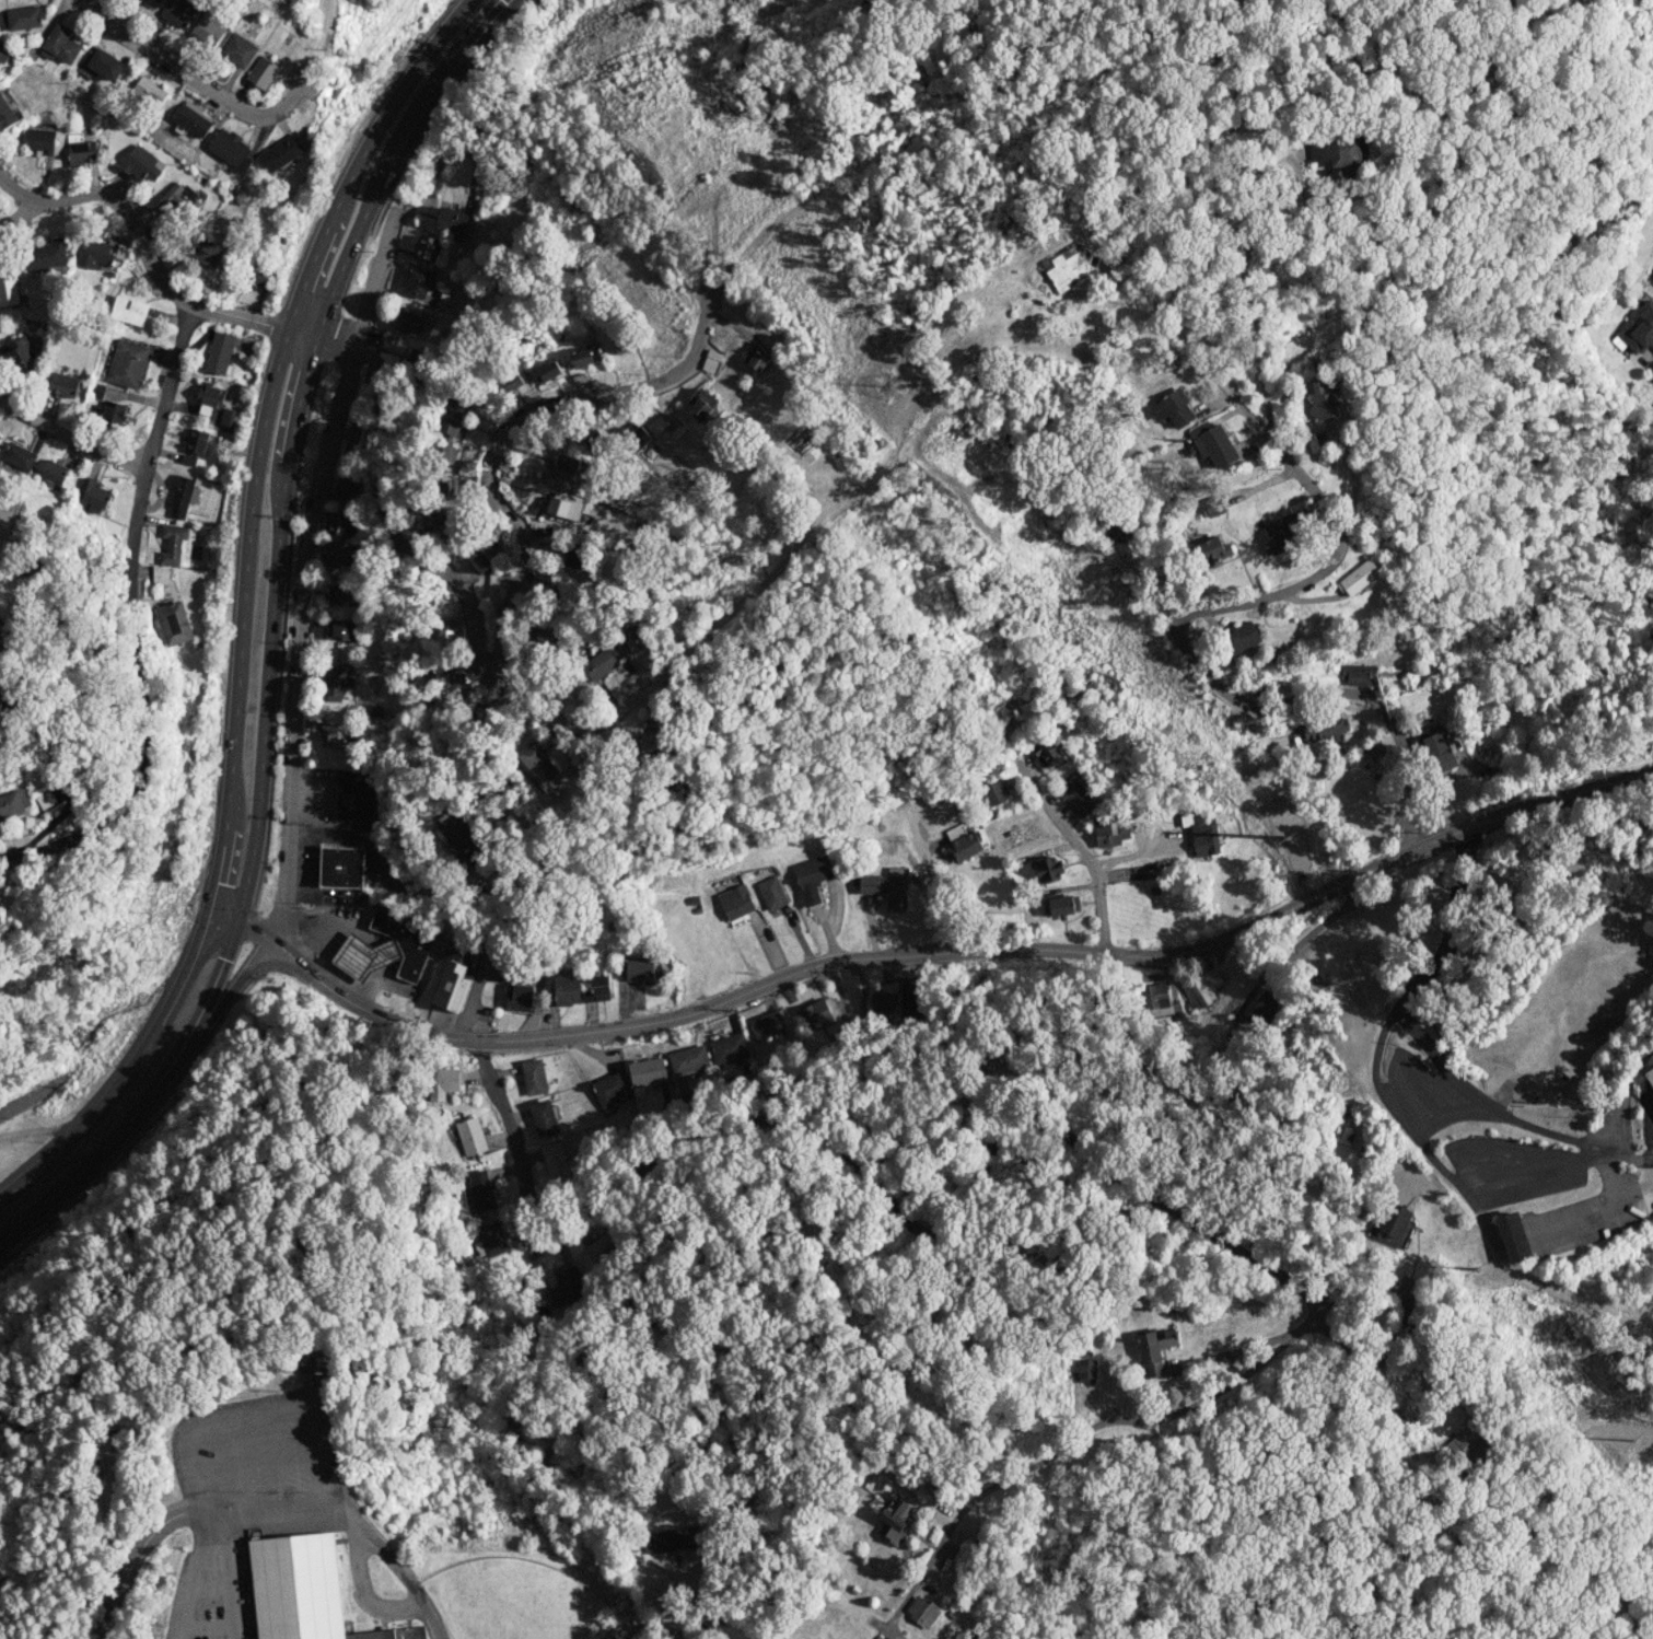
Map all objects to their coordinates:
building: (153, 2)
road: (469, 2)
road: (500, 5)
road: (509, 7)
building: (181, 11)
building: (25, 16)
building: (2, 18)
building: (210, 27)
building: (60, 44)
building: (240, 50)
building: (3, 51)
building: (106, 63)
building: (265, 72)
building: (150, 91)
road: (229, 98)
building: (5, 115)
building: (194, 118)
building: (40, 141)
building: (232, 148)
building: (81, 149)
building: (283, 150)
building: (1341, 153)
road: (444, 156)
road: (392, 161)
building: (141, 163)
building: (183, 198)
road: (15, 213)
building: (452, 222)
road: (1252, 237)
road: (143, 244)
building: (427, 247)
building: (205, 252)
building: (98, 254)
building: (48, 257)
building: (1059, 272)
building: (257, 274)
building: (113, 275)
building: (1652, 279)
building: (418, 282)
building: (9, 290)
building: (130, 311)
building: (409, 322)
building: (1637, 329)
road: (303, 330)
building: (624, 344)
building: (220, 352)
building: (20, 357)
building: (585, 357)
building: (756, 357)
building: (416, 358)
building: (127, 364)
building: (549, 370)
building: (508, 383)
building: (63, 384)
road: (167, 384)
building: (95, 392)
building: (1324, 397)
building: (210, 400)
building: (459, 402)
building: (701, 404)
building: (1173, 407)
building: (114, 414)
building: (230, 417)
building: (453, 426)
road: (501, 431)
road: (68, 435)
building: (638, 435)
building: (0, 437)
building: (197, 442)
building: (1212, 442)
building: (445, 454)
building: (19, 455)
building: (188, 458)
building: (54, 475)
building: (346, 489)
building: (92, 496)
building: (183, 496)
building: (1213, 505)
building: (566, 507)
building: (431, 516)
road: (385, 519)
building: (339, 523)
building: (1116, 532)
building: (1279, 534)
building: (177, 546)
building: (1211, 550)
building: (338, 554)
building: (575, 557)
building: (479, 560)
road: (301, 568)
building: (161, 574)
building: (1358, 577)
building: (344, 594)
road: (1238, 602)
road: (244, 614)
road: (272, 623)
building: (175, 624)
building: (341, 629)
building: (445, 637)
building: (1239, 638)
building: (544, 639)
building: (3, 642)
building: (598, 666)
road: (662, 671)
building: (1358, 674)
building: (454, 679)
building: (335, 684)
building: (10, 695)
road: (140, 709)
building: (474, 711)
building: (1005, 716)
building: (1324, 726)
building: (331, 734)
building: (4, 735)
building: (644, 746)
building: (1436, 748)
building: (1046, 751)
building: (542, 768)
building: (996, 792)
building: (1075, 797)
building: (356, 799)
building: (47, 801)
building: (11, 804)
building: (1110, 830)
building: (1201, 833)
building: (462, 838)
building: (964, 846)
road: (1087, 856)
building: (341, 867)
building: (1047, 867)
building: (812, 876)
building: (886, 885)
building: (771, 892)
building: (1062, 904)
traffic signals: (212, 905)
road: (225, 909)
traffic signals: (238, 916)
building: (386, 948)
road: (939, 954)
building: (636, 969)
building: (451, 984)
building: (1203, 986)
building: (567, 989)
building: (596, 989)
building: (517, 997)
building: (881, 1000)
building: (1160, 1001)
road: (220, 1004)
building: (1262, 1010)
building: (815, 1014)
building: (766, 1025)
road: (1387, 1025)
building: (729, 1049)
building: (688, 1058)
building: (648, 1071)
building: (1650, 1074)
building: (534, 1076)
building: (442, 1081)
building: (610, 1090)
road: (32, 1093)
road: (149, 1099)
road: (1481, 1102)
building: (544, 1116)
road: (1609, 1123)
road: (37, 1132)
building: (1343, 1134)
building: (470, 1136)
building: (556, 1160)
road: (1538, 1179)
building: (480, 1189)
building: (1392, 1223)
road: (942, 1231)
building: (1512, 1236)
building: (490, 1239)
building: (602, 1244)
building: (566, 1285)
building: (1153, 1349)
building: (1086, 1370)
building: (1466, 1442)
road: (1071, 1443)
building: (894, 1518)
road: (357, 1522)
building: (673, 1539)
road: (141, 1557)
road: (198, 1581)
building: (301, 1589)
park: (504, 1599)
building: (921, 1611)

